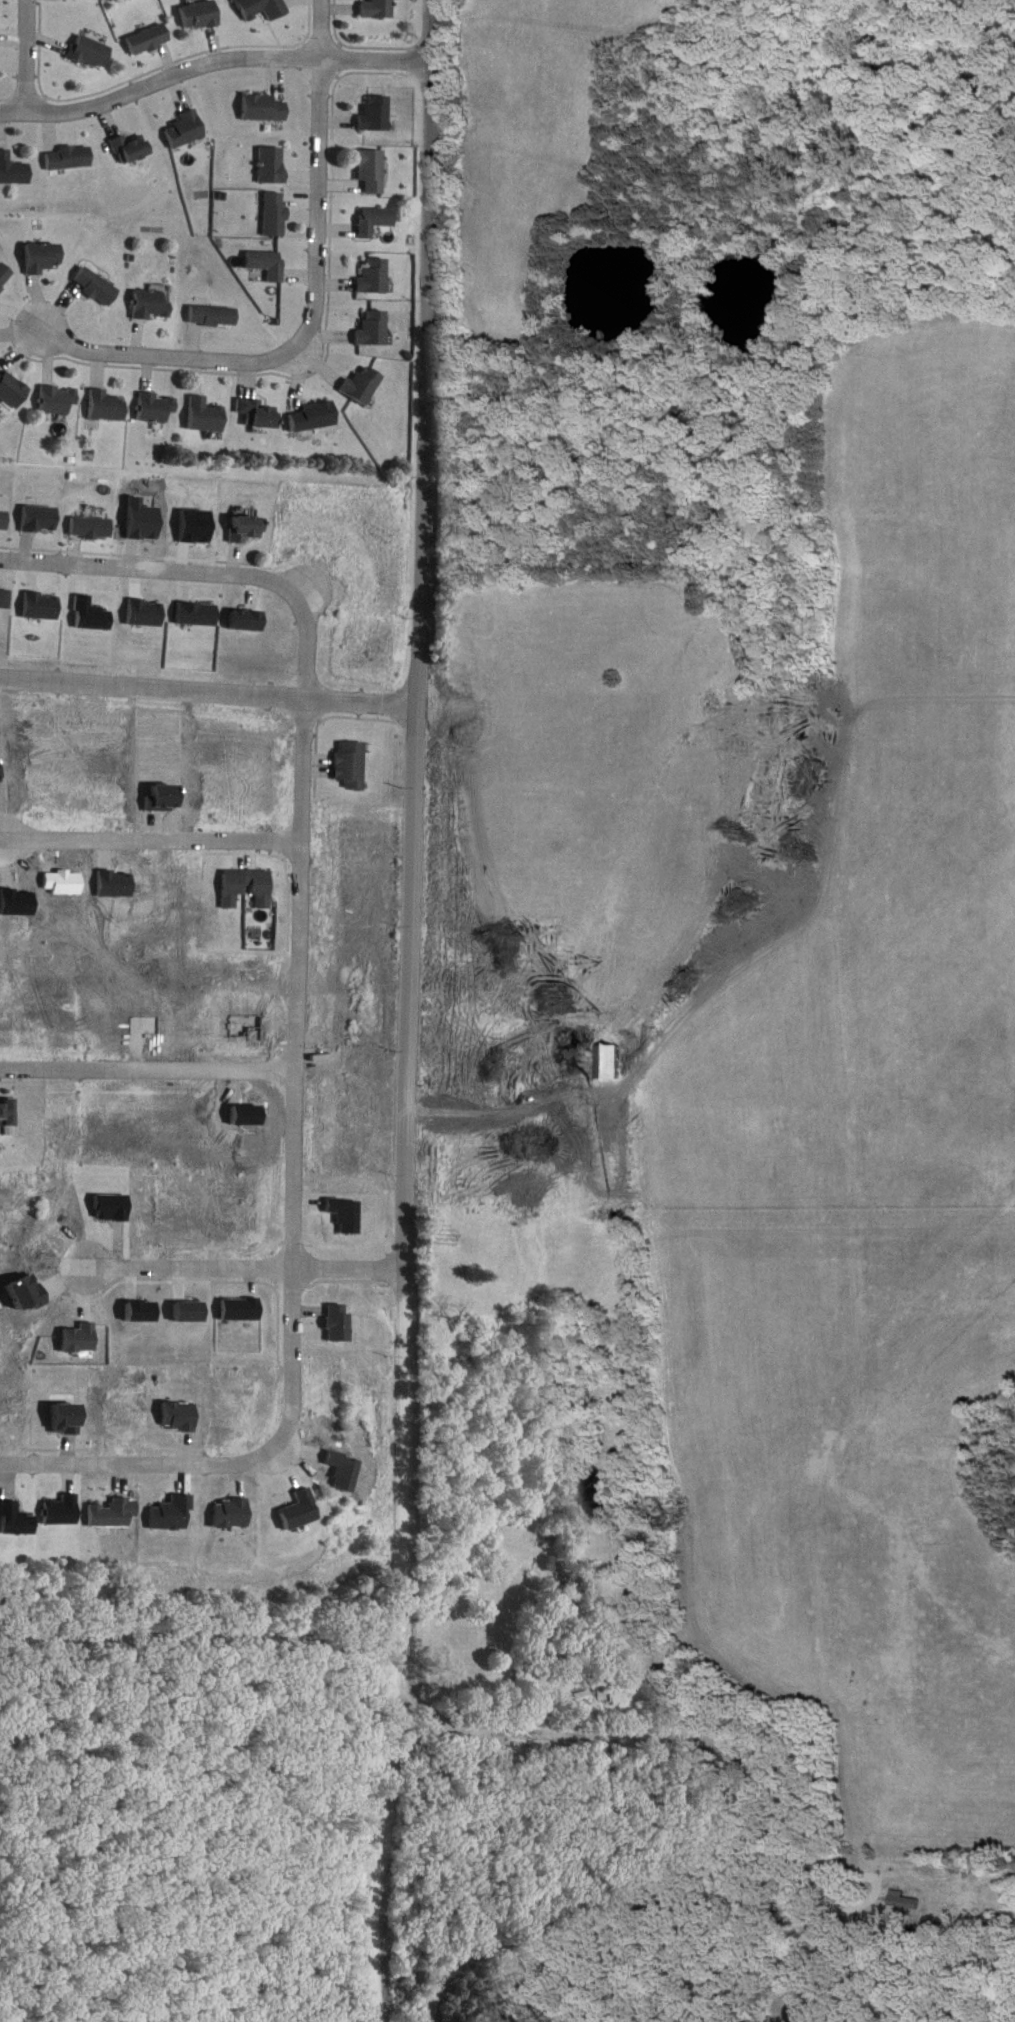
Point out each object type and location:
building: (261, 9)
building: (378, 9)
building: (0, 11)
building: (200, 15)
building: (149, 40)
road: (29, 49)
building: (91, 52)
road: (213, 53)
building: (262, 108)
building: (375, 114)
building: (187, 130)
building: (133, 149)
building: (71, 158)
building: (273, 165)
building: (15, 169)
building: (371, 170)
building: (276, 214)
building: (374, 220)
building: (46, 258)
building: (268, 264)
building: (374, 275)
building: (6, 276)
building: (99, 286)
road: (311, 300)
building: (154, 304)
building: (215, 316)
building: (374, 329)
building: (363, 385)
building: (14, 389)
building: (59, 401)
building: (109, 405)
building: (158, 407)
building: (259, 413)
building: (207, 416)
building: (314, 417)
building: (5, 521)
building: (93, 528)
building: (248, 528)
road: (204, 561)
road: (304, 581)
building: (7, 597)
road: (209, 681)
building: (355, 764)
road: (153, 832)
building: (250, 889)
road: (411, 1012)
building: (611, 1061)
road: (151, 1068)
road: (302, 1076)
road: (502, 1108)
building: (9, 1112)
road: (247, 1263)
road: (145, 1463)
road: (170, 1633)
road: (43, 1634)
road: (484, 1719)
building: (901, 1868)
road: (676, 1879)

